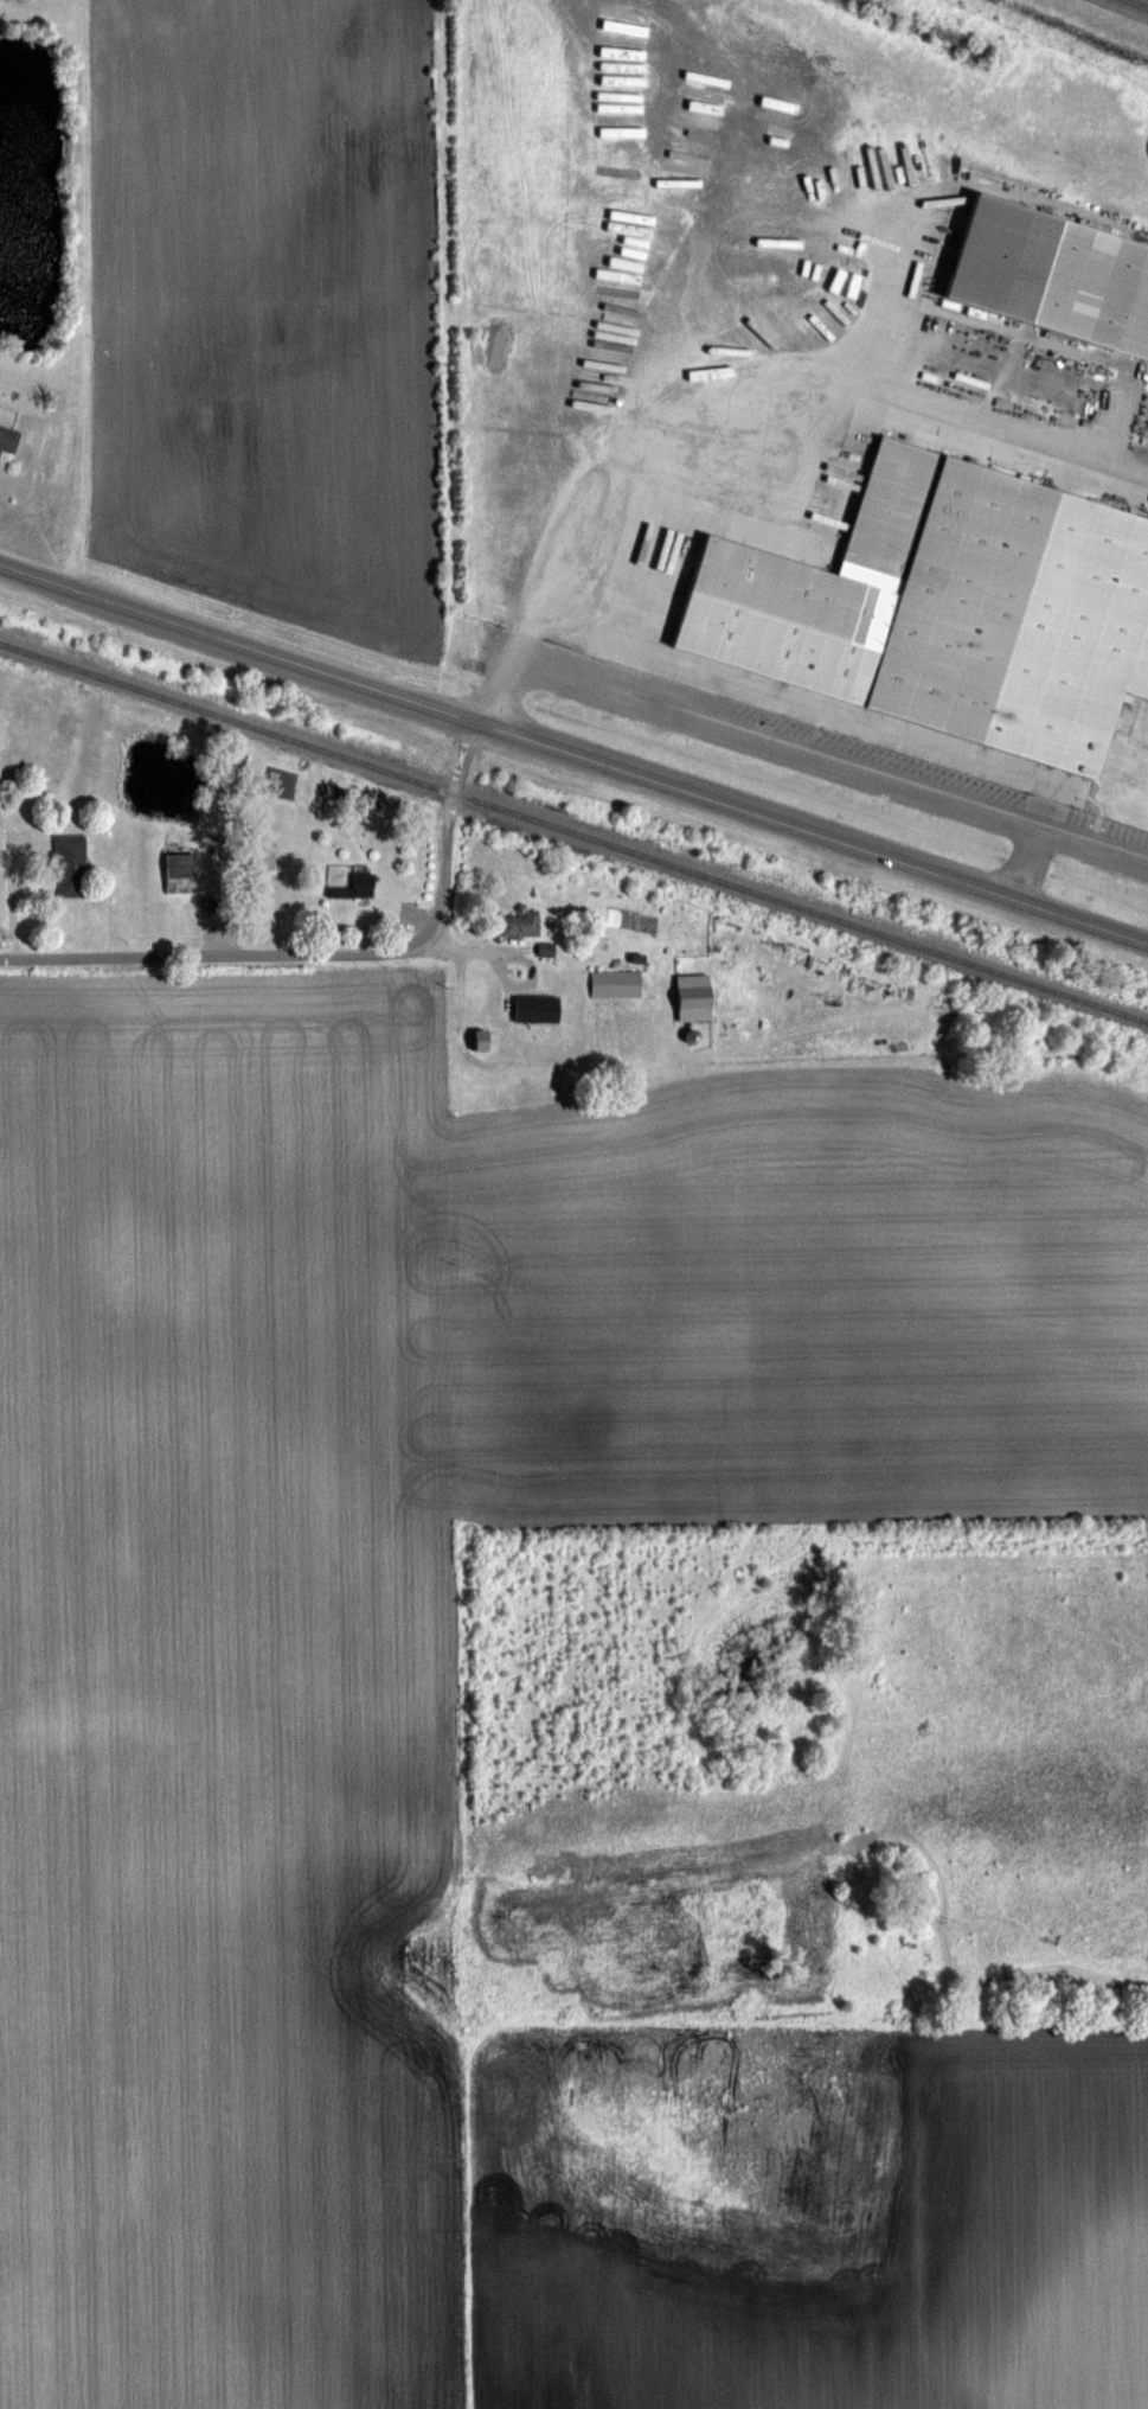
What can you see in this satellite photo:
road: (1146, 0)
building: (1045, 276)
road: (886, 287)
crop: (268, 311)
road: (719, 354)
building: (938, 603)
road: (238, 641)
road: (834, 748)
road: (448, 825)
railway: (573, 830)
road: (813, 830)
road: (1032, 857)
building: (73, 864)
road: (9, 878)
building: (359, 886)
building: (525, 924)
road: (218, 954)
building: (688, 995)
road: (461, 1046)

